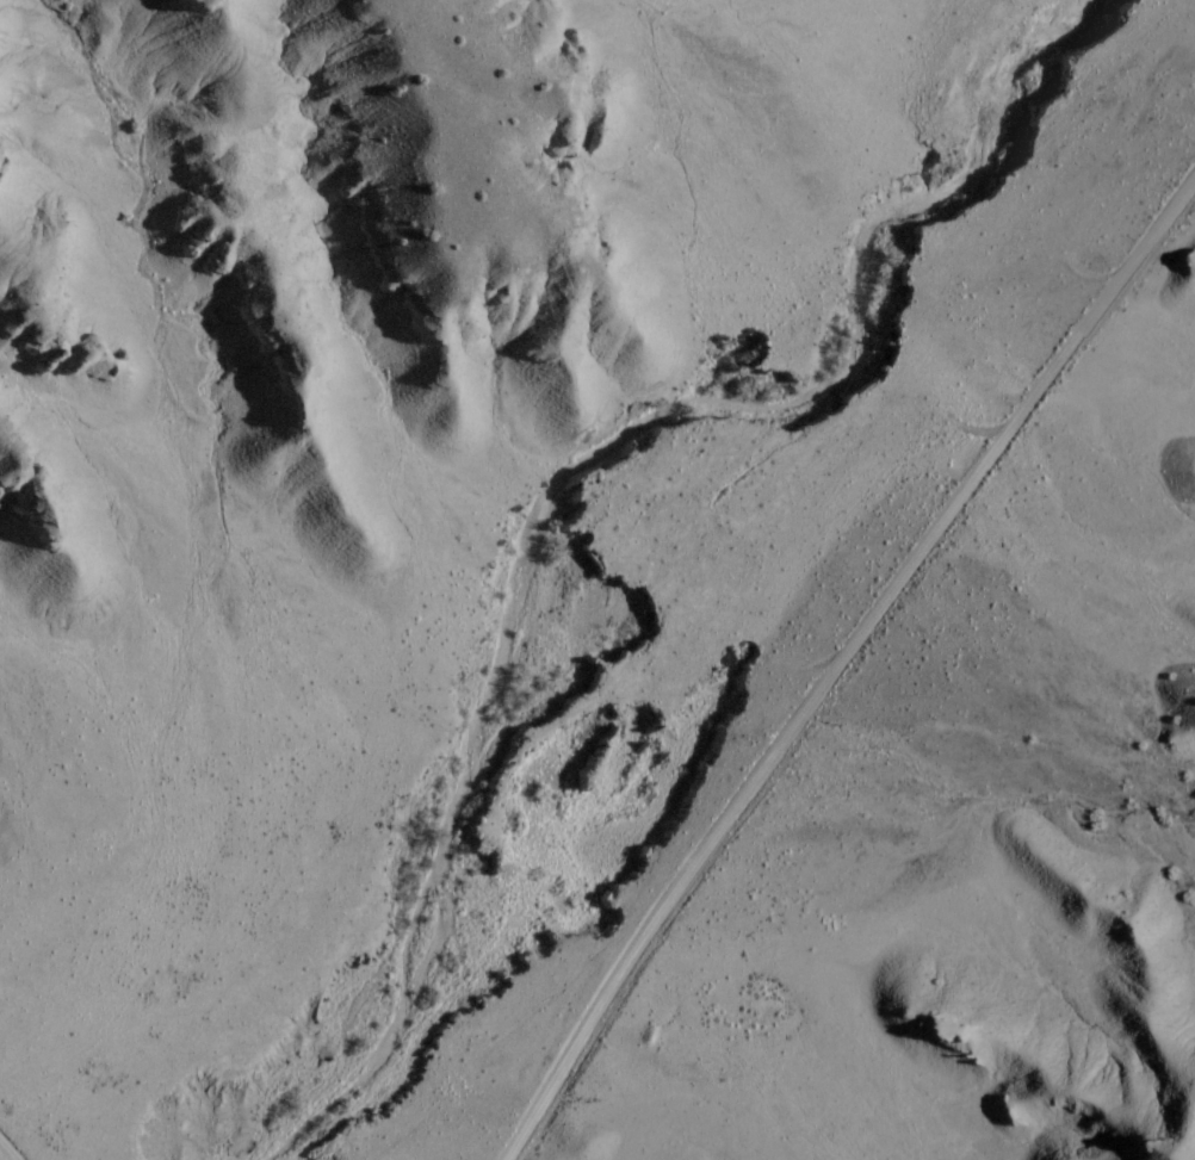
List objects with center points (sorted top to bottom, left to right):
road: (838, 658)
road: (7, 1150)

